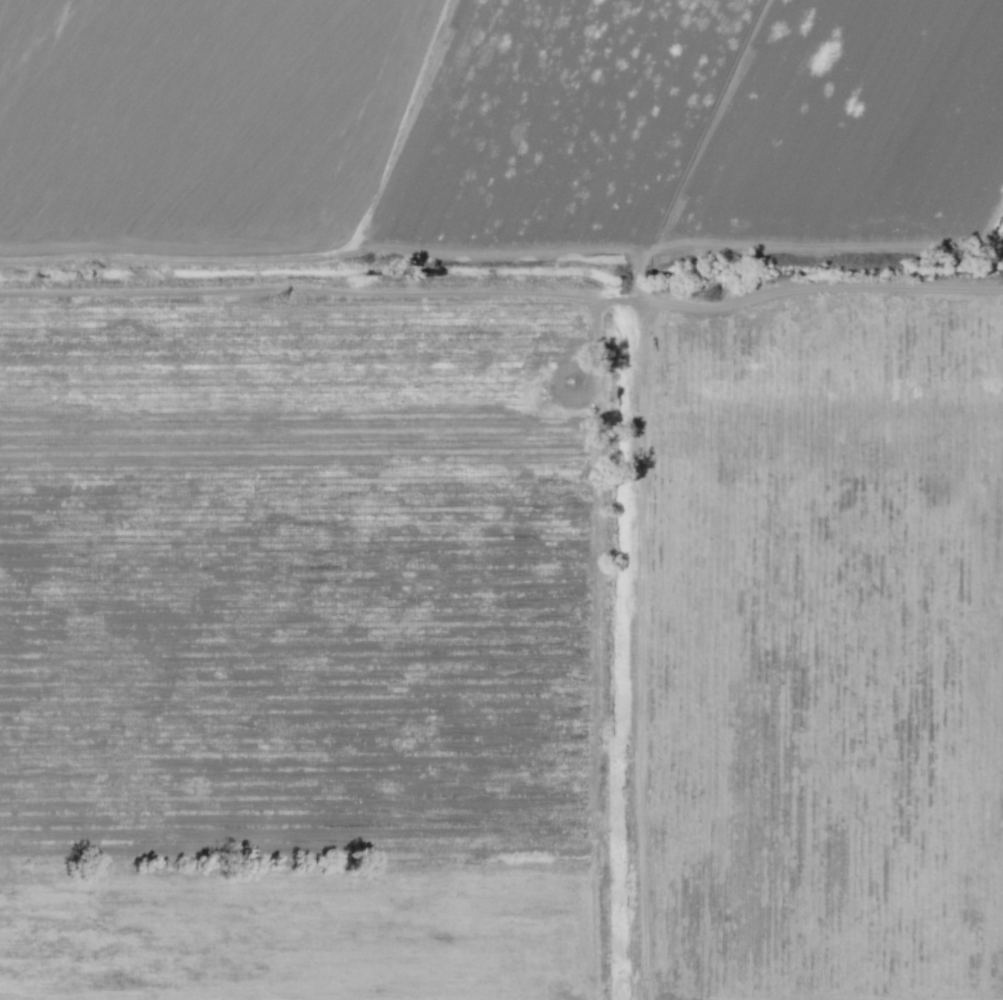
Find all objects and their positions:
crop: (199, 123)
power tower: (708, 294)
power tower: (278, 299)
road: (505, 300)

